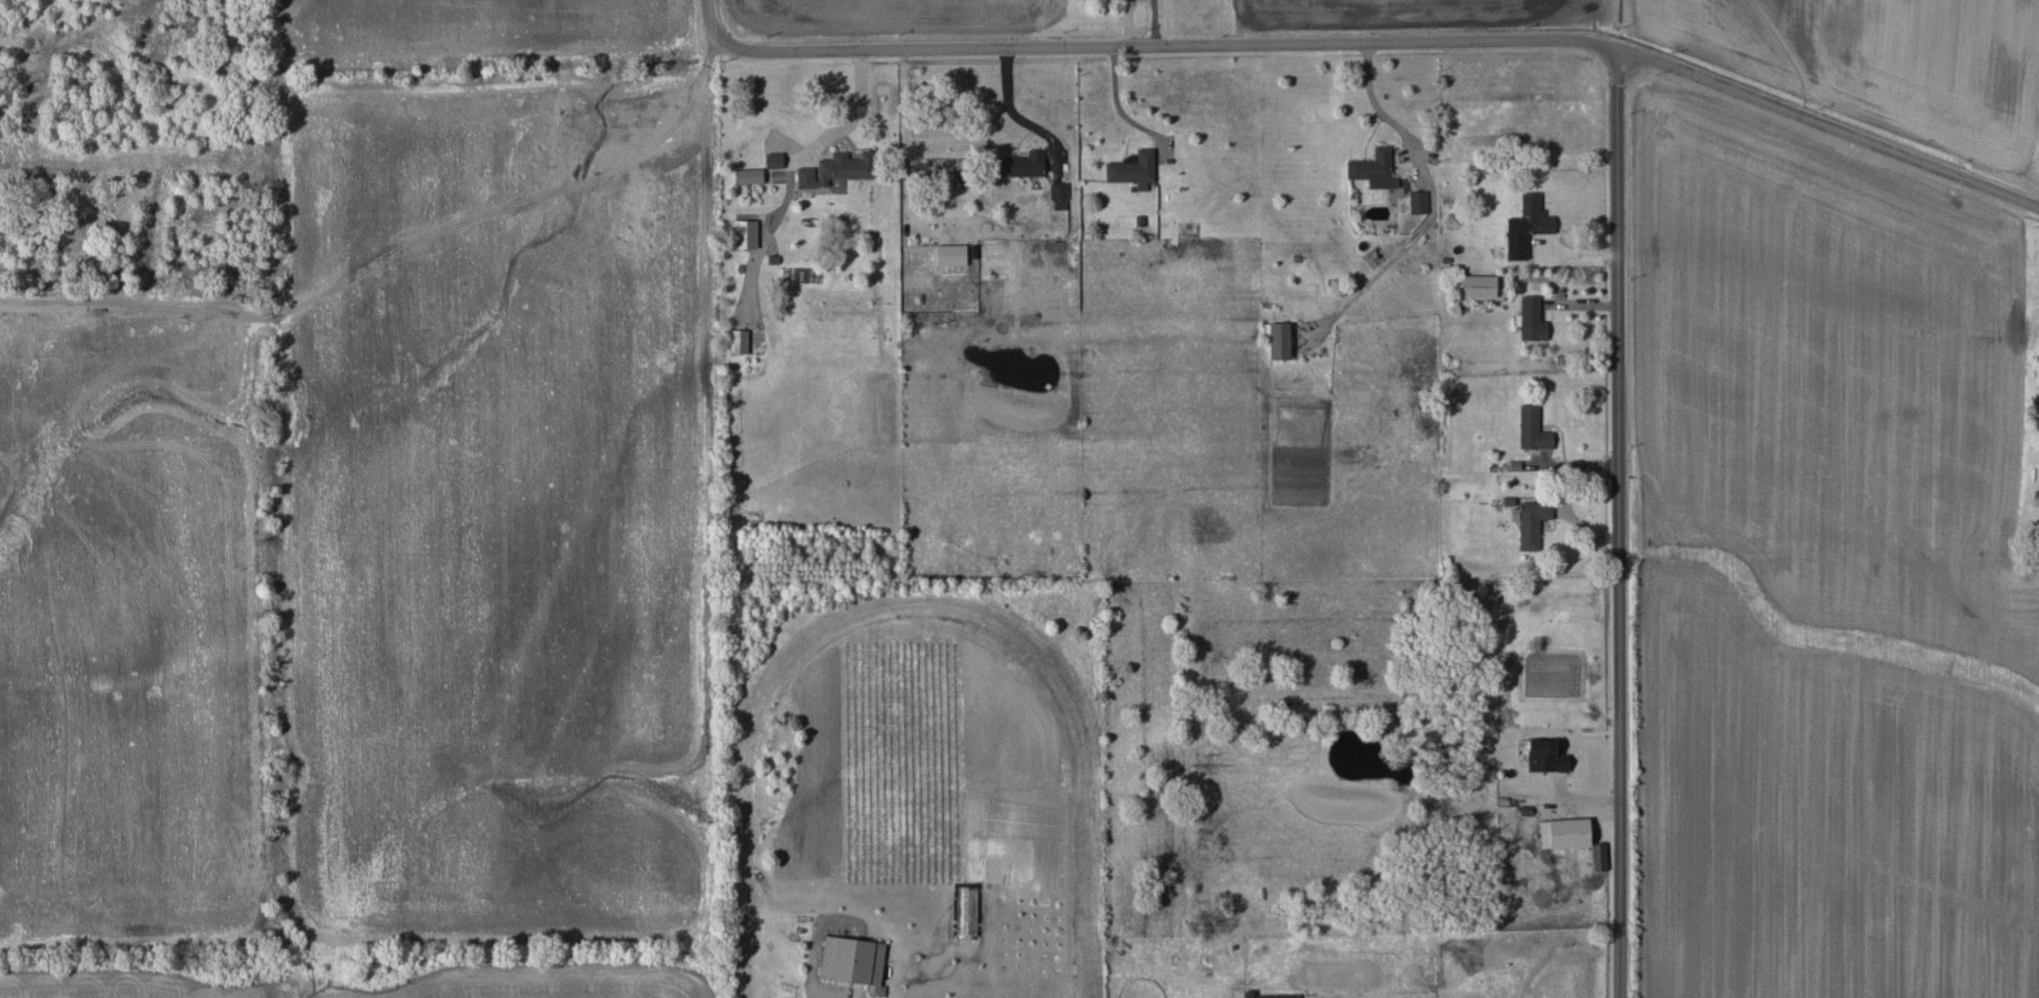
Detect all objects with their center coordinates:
road: (1127, 22)
road: (1154, 22)
road: (1374, 42)
road: (78, 53)
road: (860, 101)
road: (1374, 101)
road: (1118, 104)
road: (1013, 105)
road: (28, 116)
building: (774, 160)
building: (1023, 165)
road: (614, 166)
road: (250, 167)
building: (837, 169)
building: (1133, 169)
building: (1374, 169)
building: (749, 176)
building: (1058, 191)
building: (1418, 202)
building: (1530, 233)
building: (745, 234)
building: (951, 255)
building: (1479, 286)
road: (148, 315)
parking lot: (63, 318)
building: (1531, 320)
building: (738, 341)
building: (1279, 341)
building: (1532, 429)
parking lot: (584, 438)
park: (355, 477)
road: (550, 493)
building: (1532, 523)
road: (1617, 524)
building: (1546, 756)
building: (1569, 833)
building: (1599, 857)
building: (967, 910)
building: (853, 962)
building: (1269, 995)

